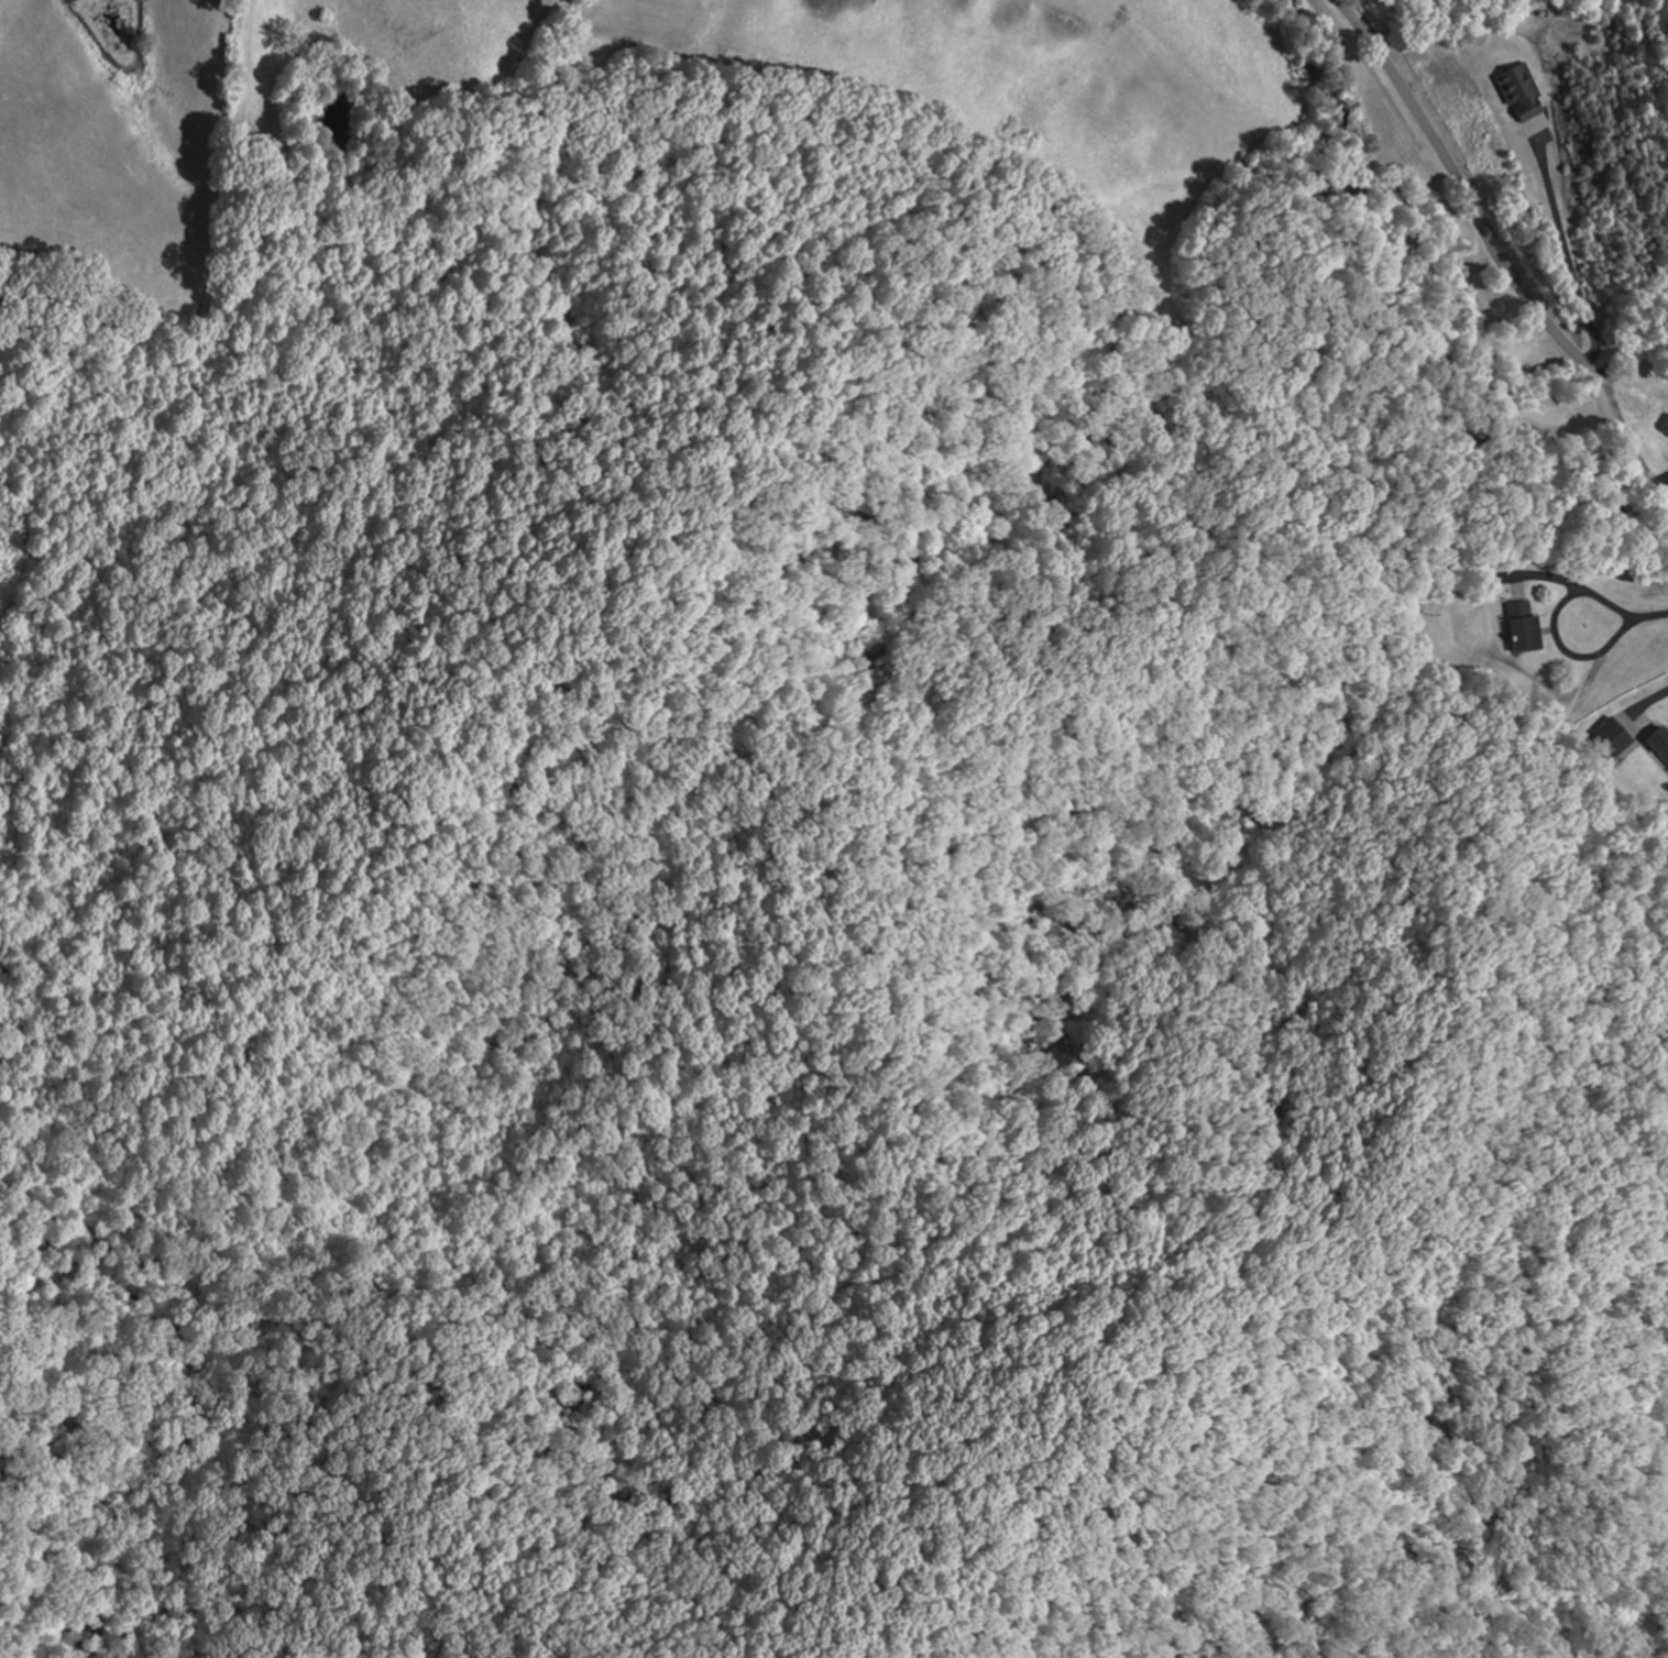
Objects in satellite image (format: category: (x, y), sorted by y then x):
building: (1522, 92)
road: (1502, 259)
building: (1525, 625)
building: (1614, 735)
building: (1660, 742)

